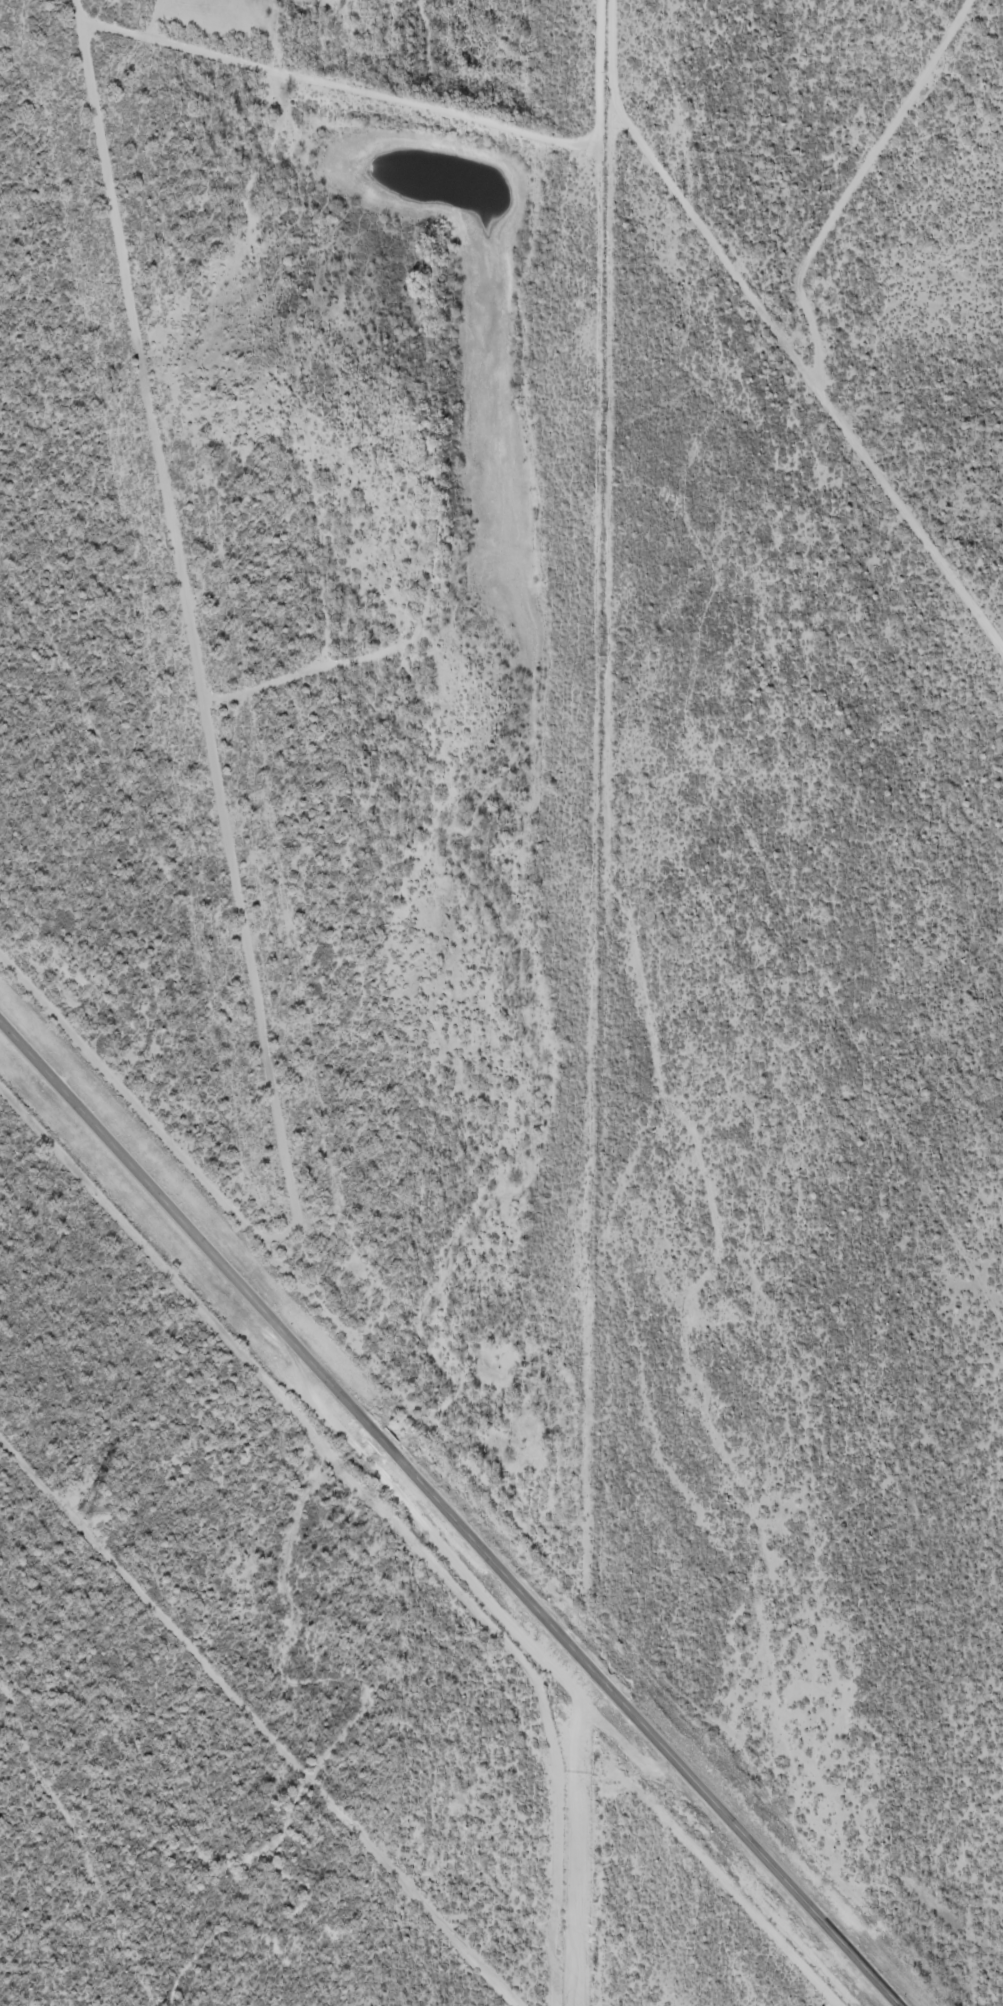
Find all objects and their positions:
power tower: (78, 1511)

